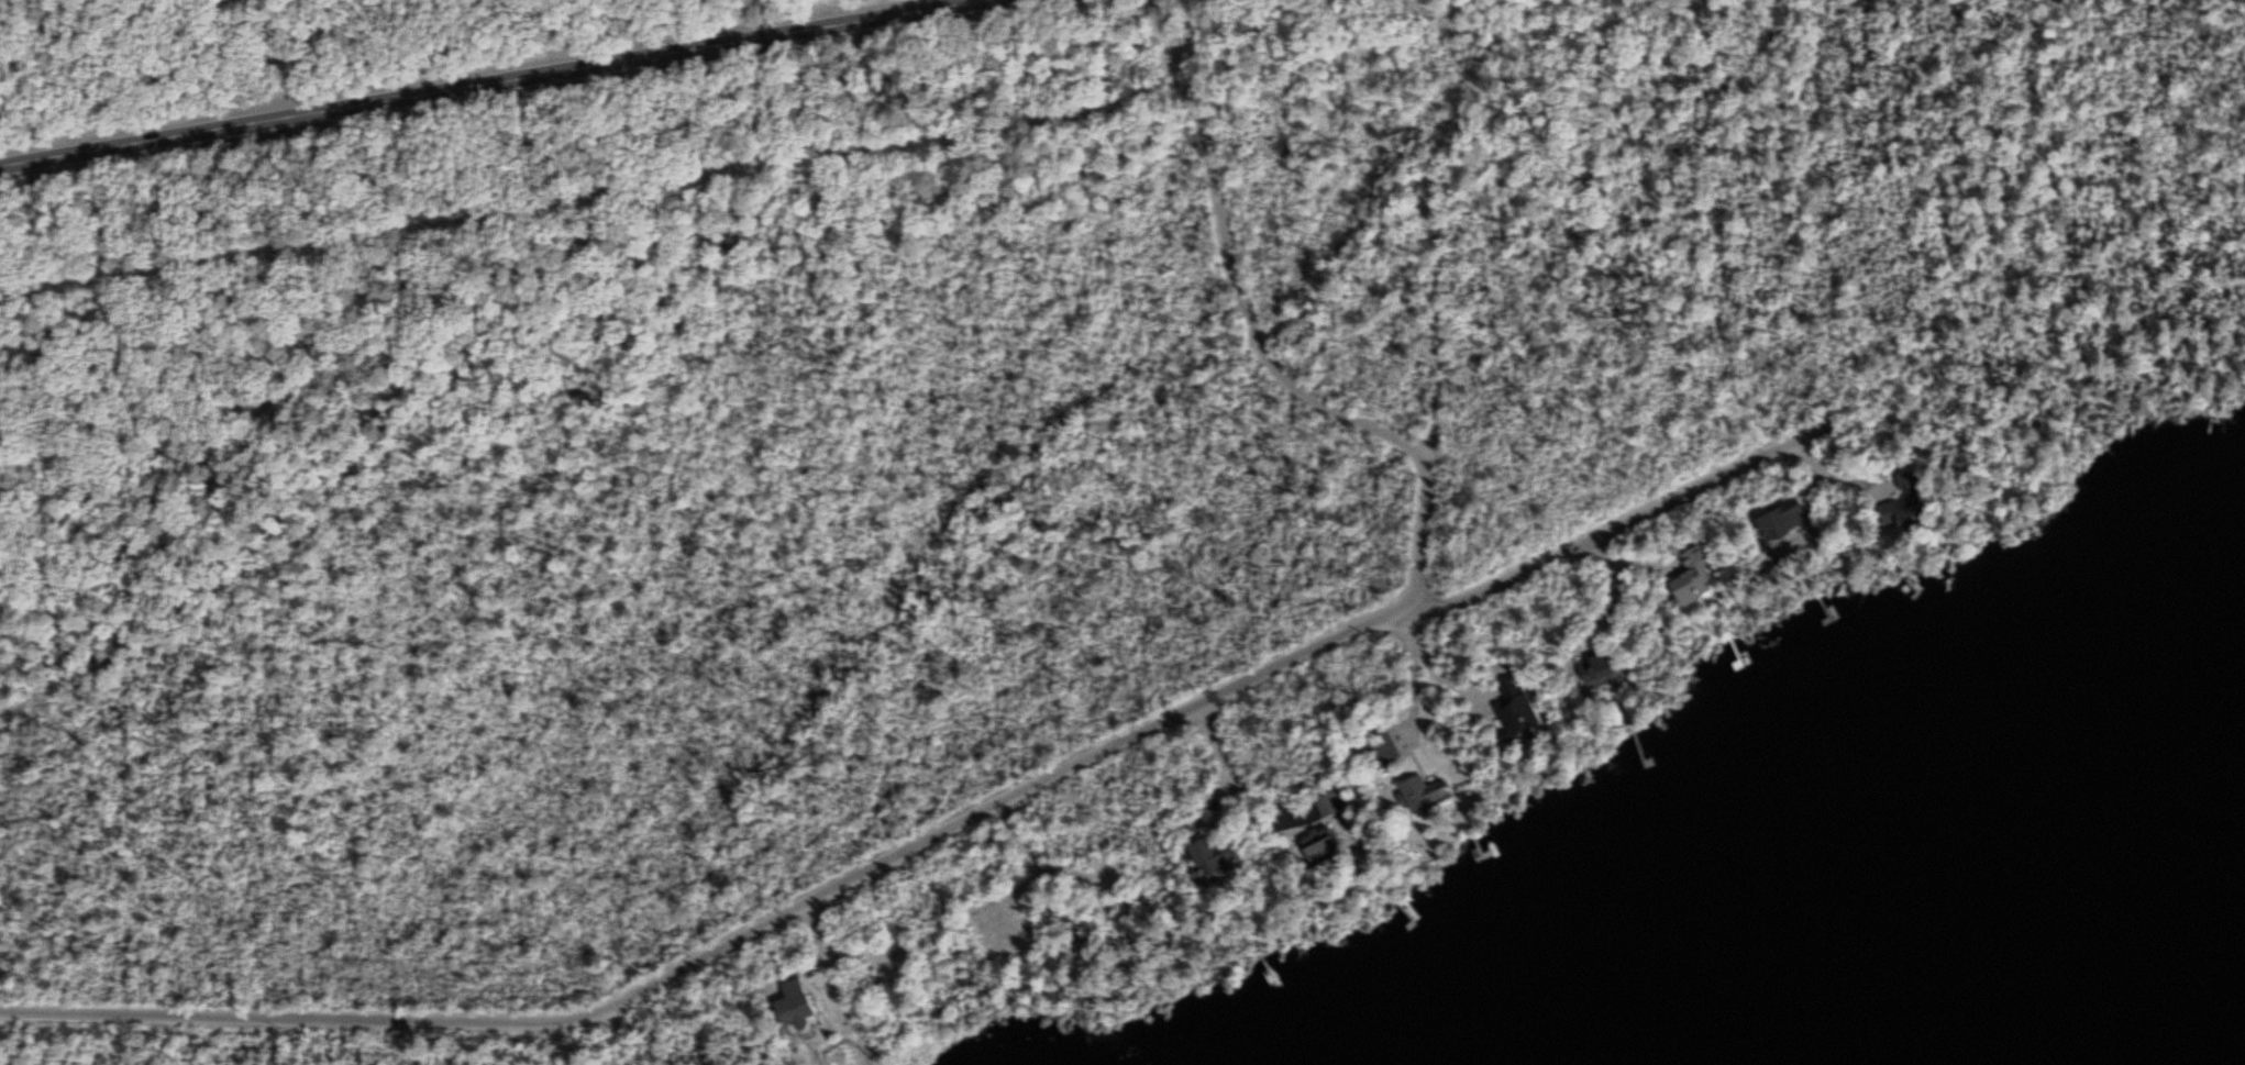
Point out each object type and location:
road: (490, 84)
road: (1259, 336)
building: (1783, 521)
building: (1693, 581)
building: (1603, 667)
building: (1517, 714)
building: (1382, 750)
building: (1425, 794)
building: (1328, 807)
road: (928, 835)
building: (1330, 854)
building: (1209, 859)
building: (794, 1007)

